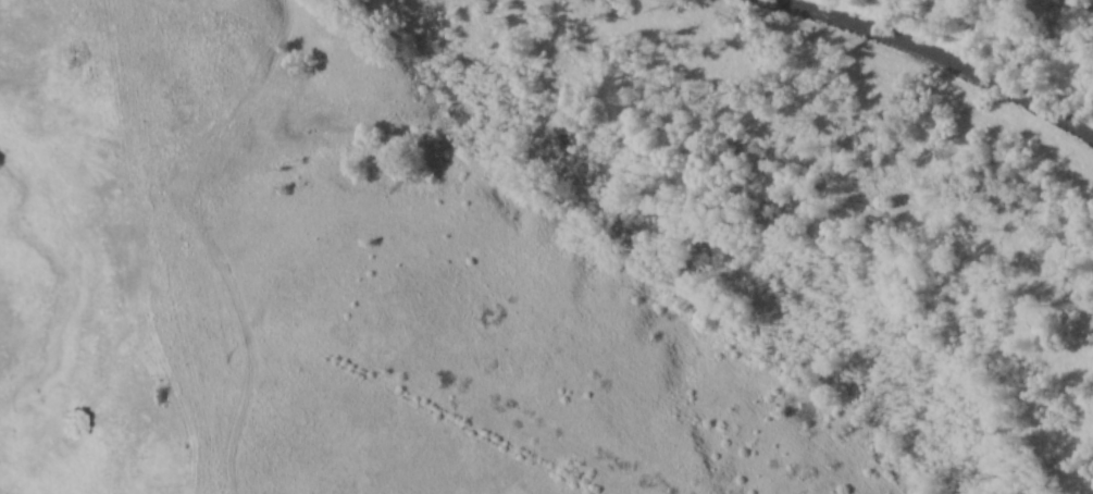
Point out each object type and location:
park: (546, 247)

